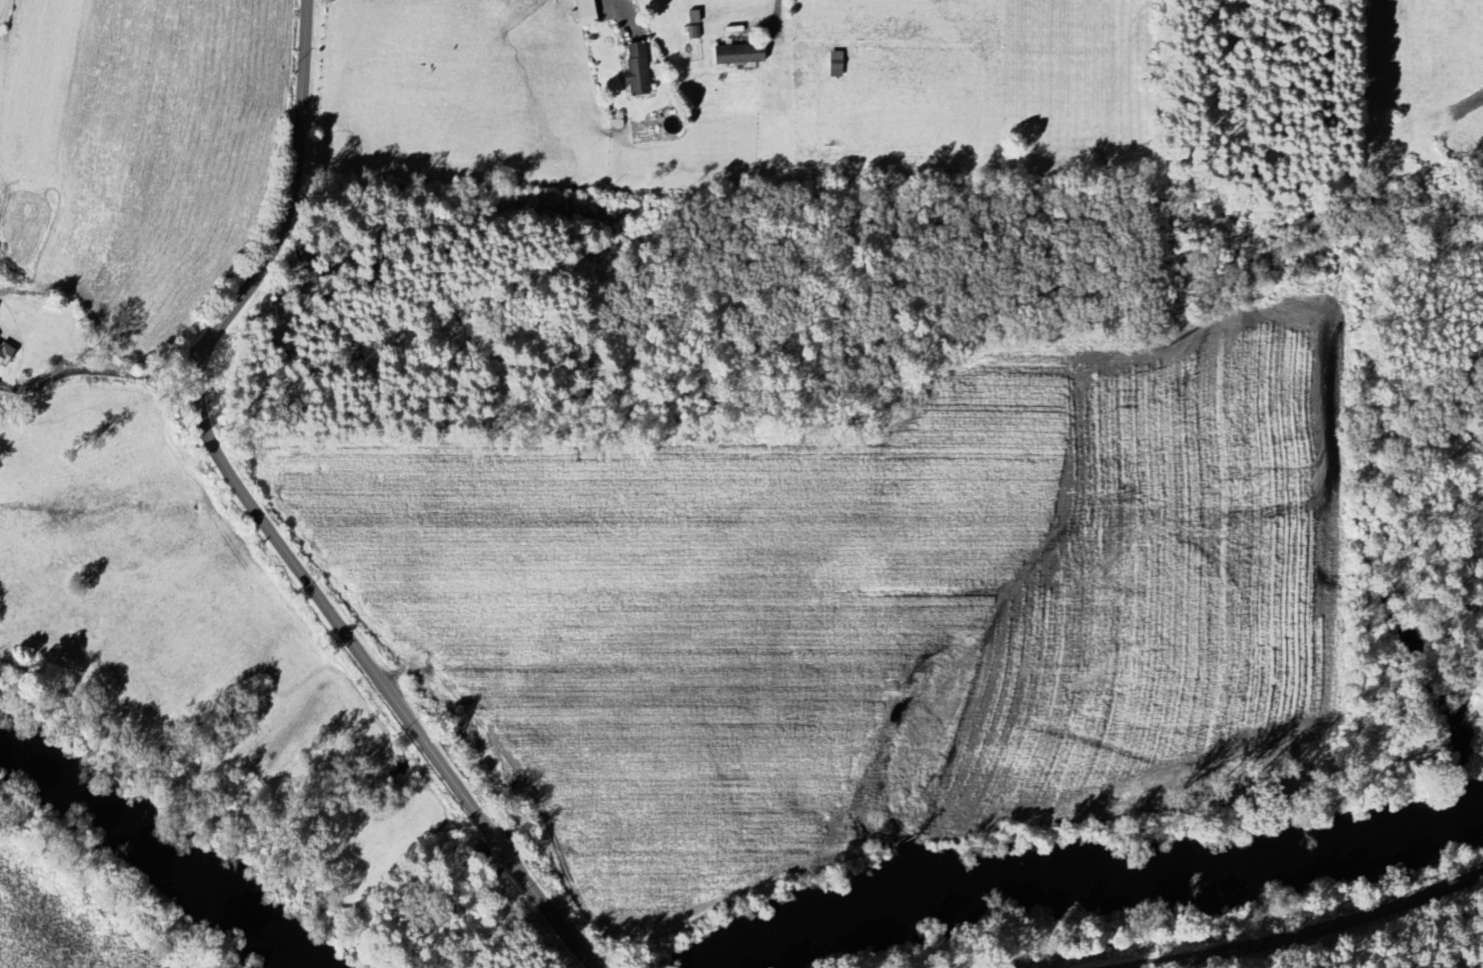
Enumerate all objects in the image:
building: (521, 0)
building: (581, 12)
road: (779, 13)
road: (627, 16)
building: (735, 53)
building: (833, 64)
building: (633, 69)
building: (3, 354)
road: (96, 371)
road: (260, 517)
river: (157, 856)
river: (1092, 873)
road: (1309, 932)

